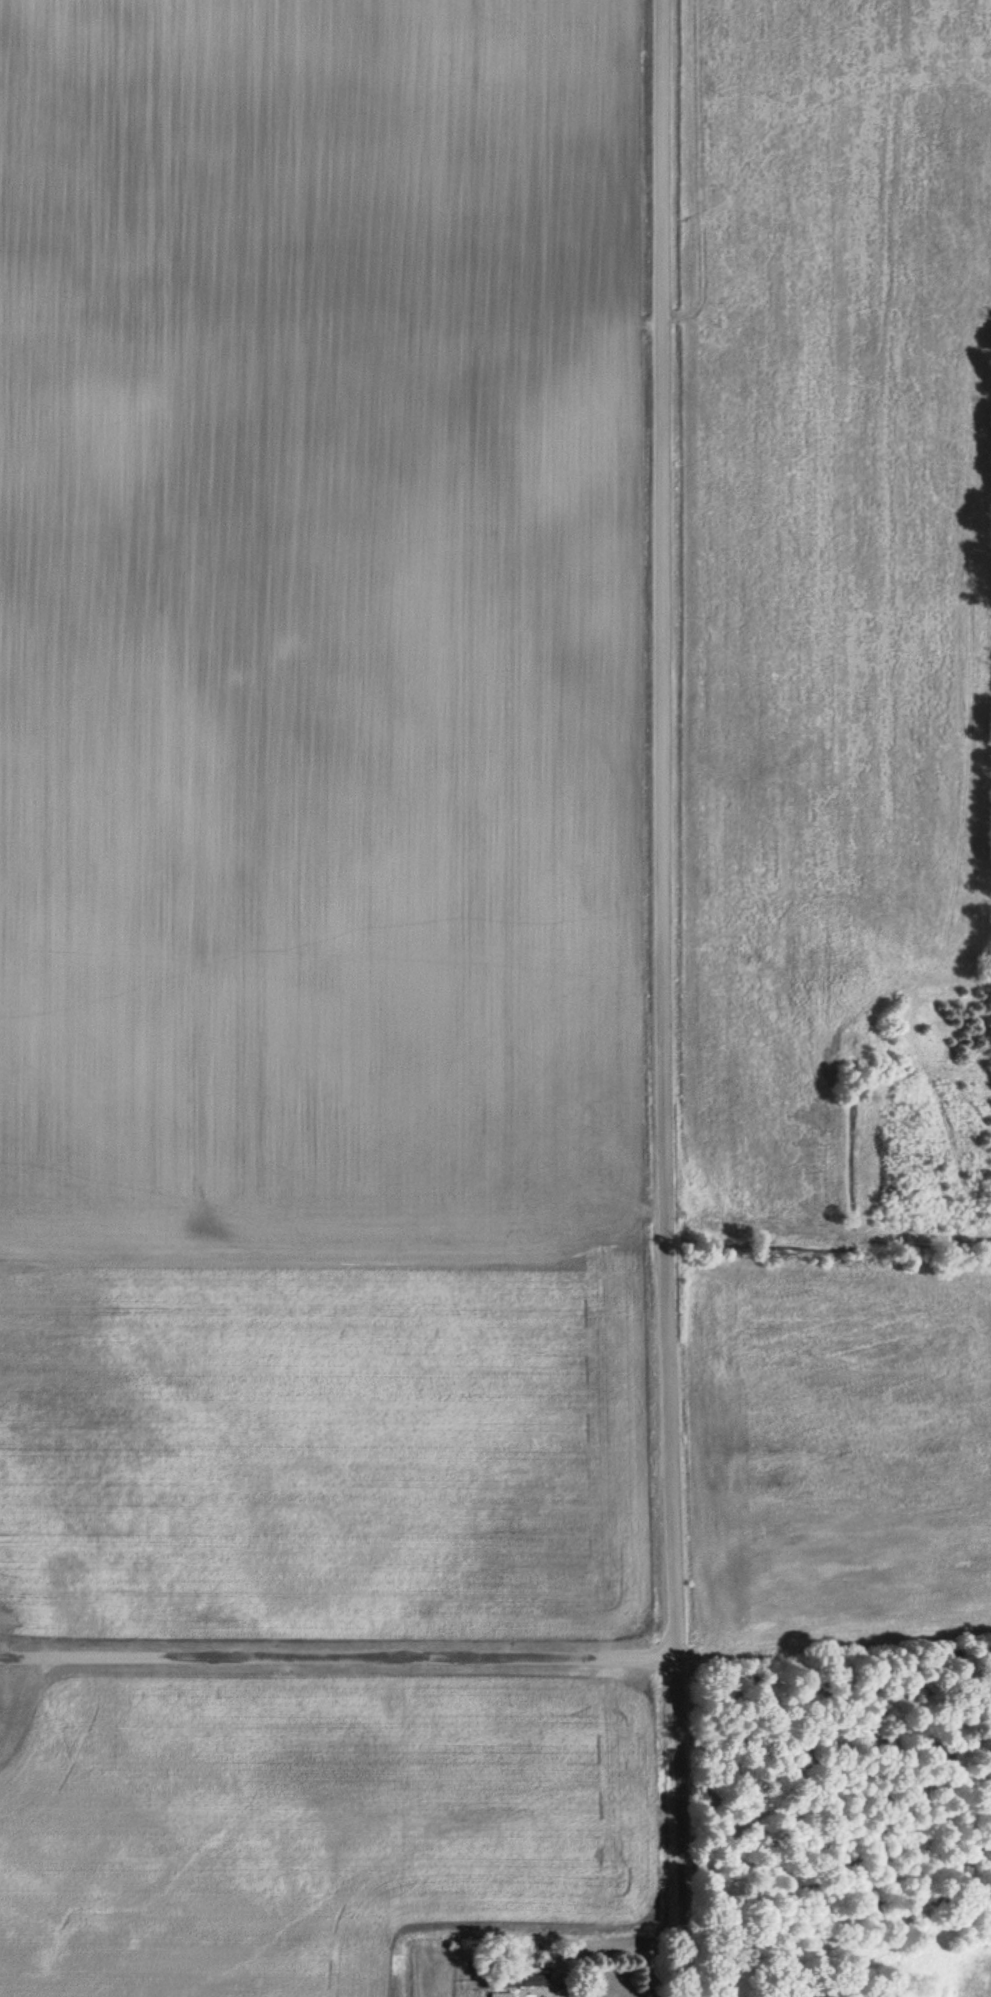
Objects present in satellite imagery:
road: (665, 998)
building: (534, 1980)
building: (618, 1994)

